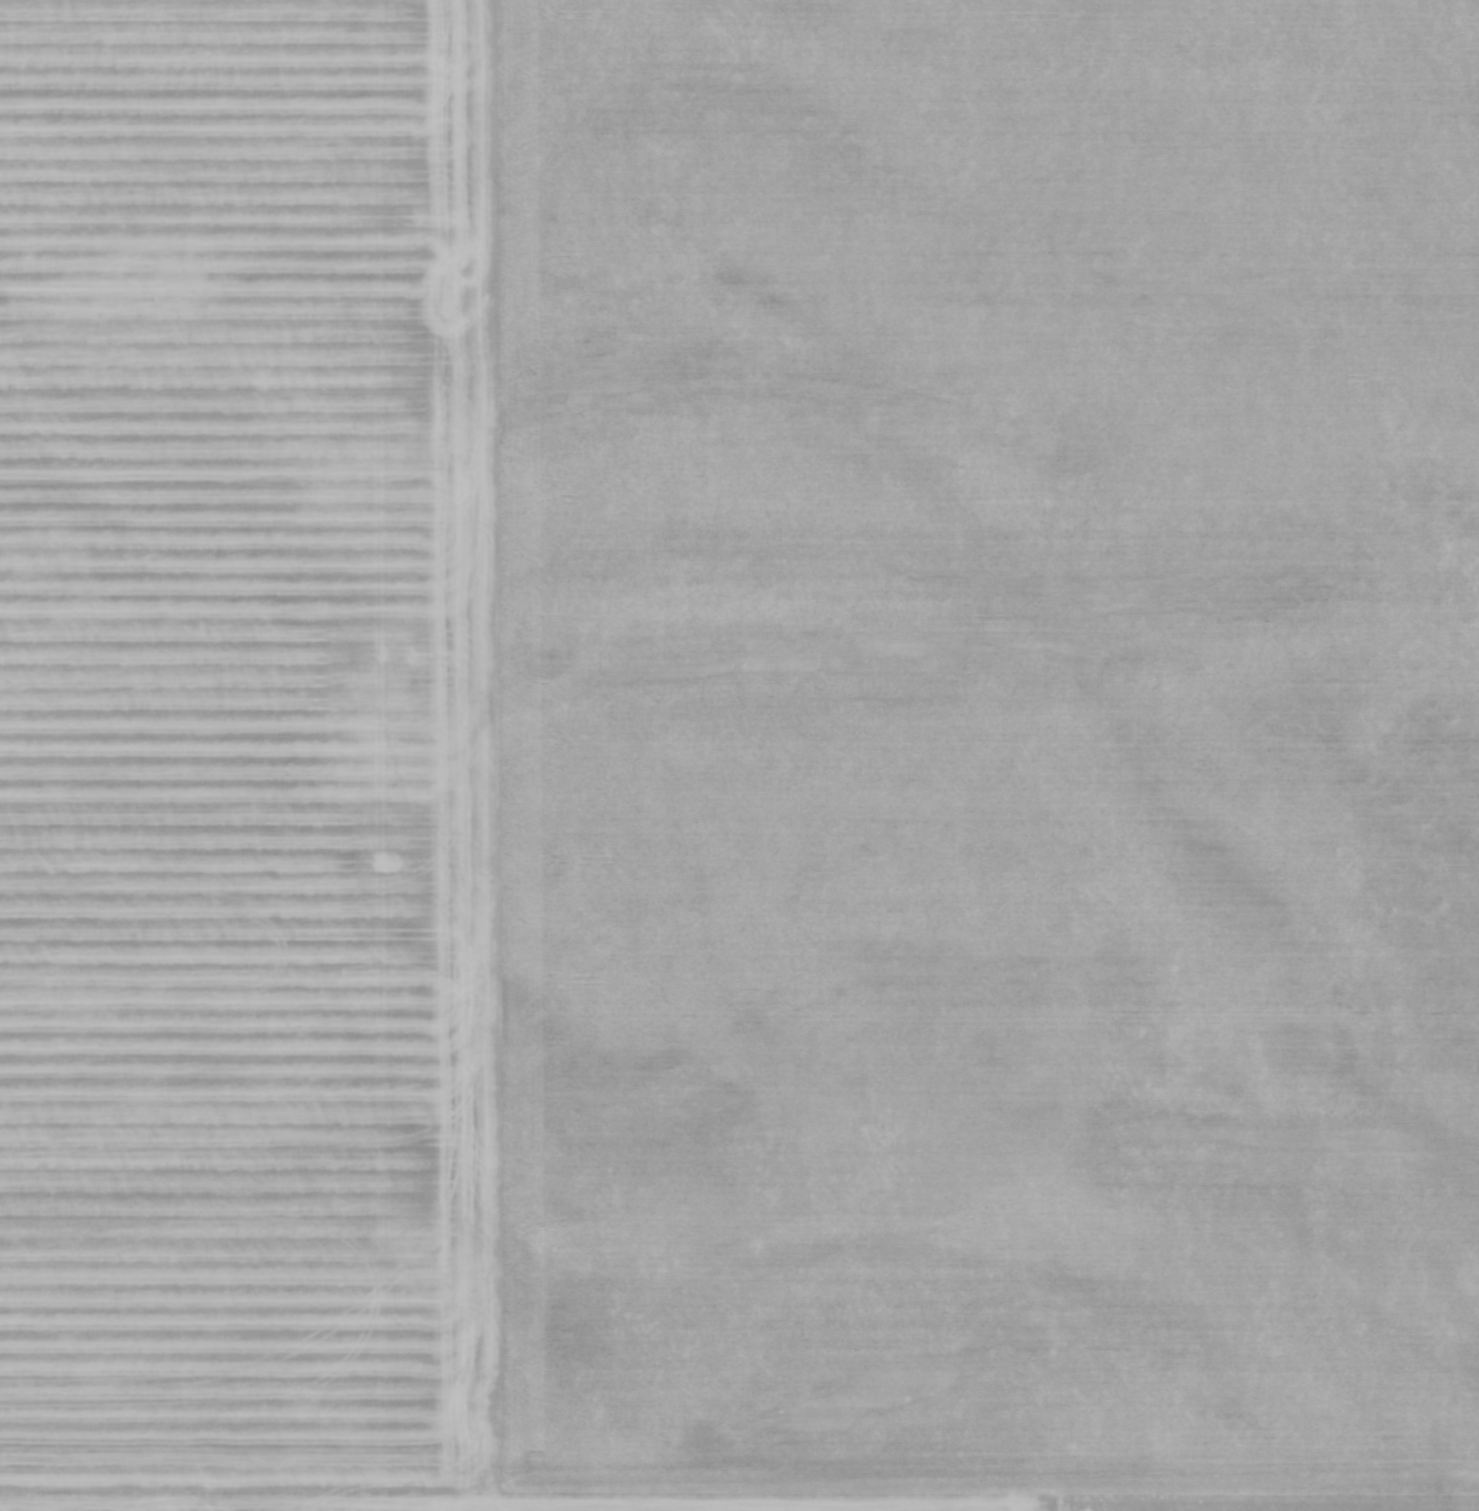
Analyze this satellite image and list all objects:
crop: (739, 755)

